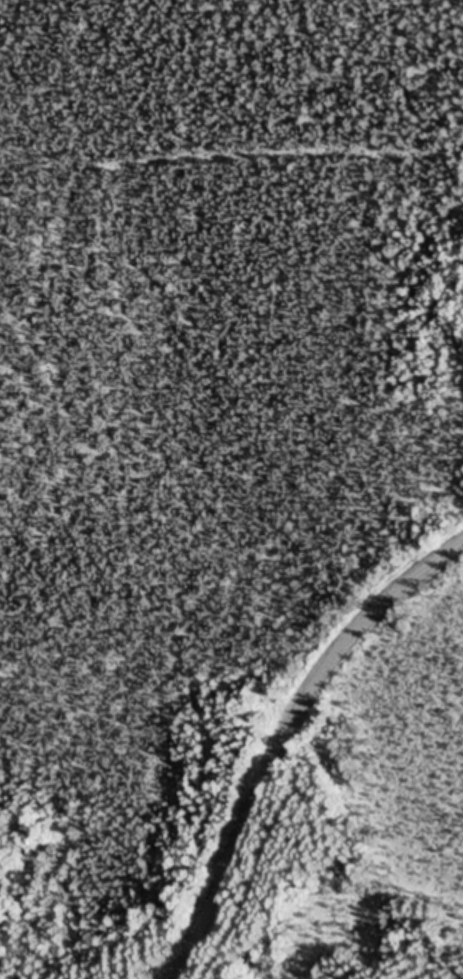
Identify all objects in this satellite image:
road: (286, 738)

